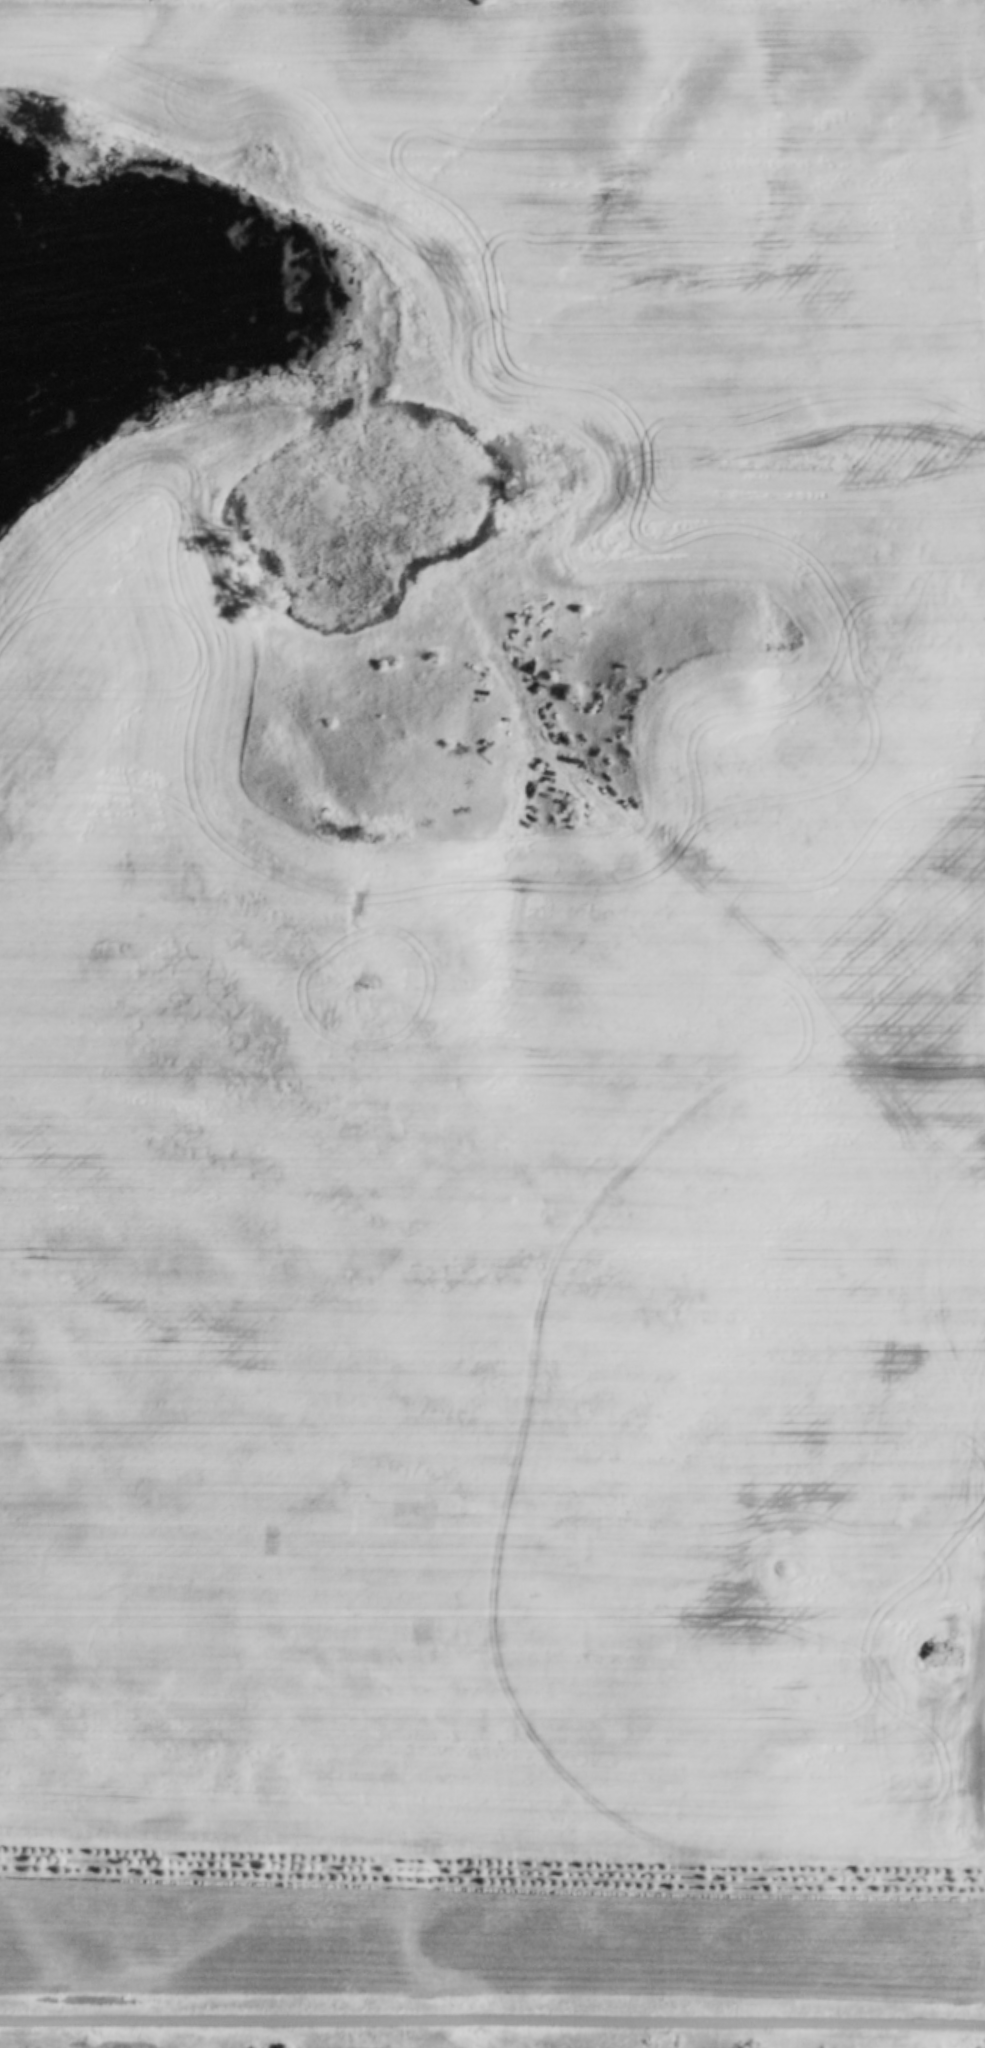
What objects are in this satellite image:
road: (492, 2020)
road: (664, 2036)

